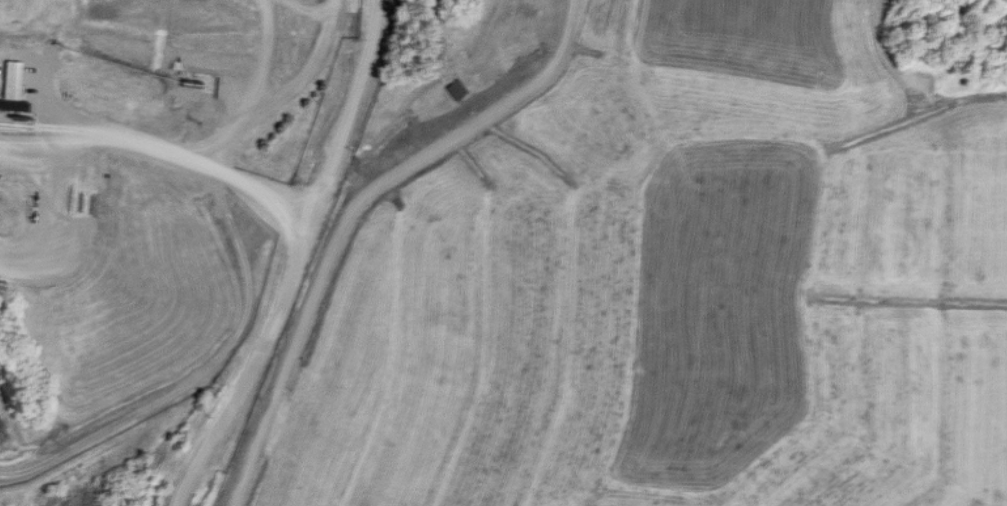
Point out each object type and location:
building: (459, 89)
road: (281, 93)
road: (97, 129)
road: (252, 185)
road: (295, 260)

